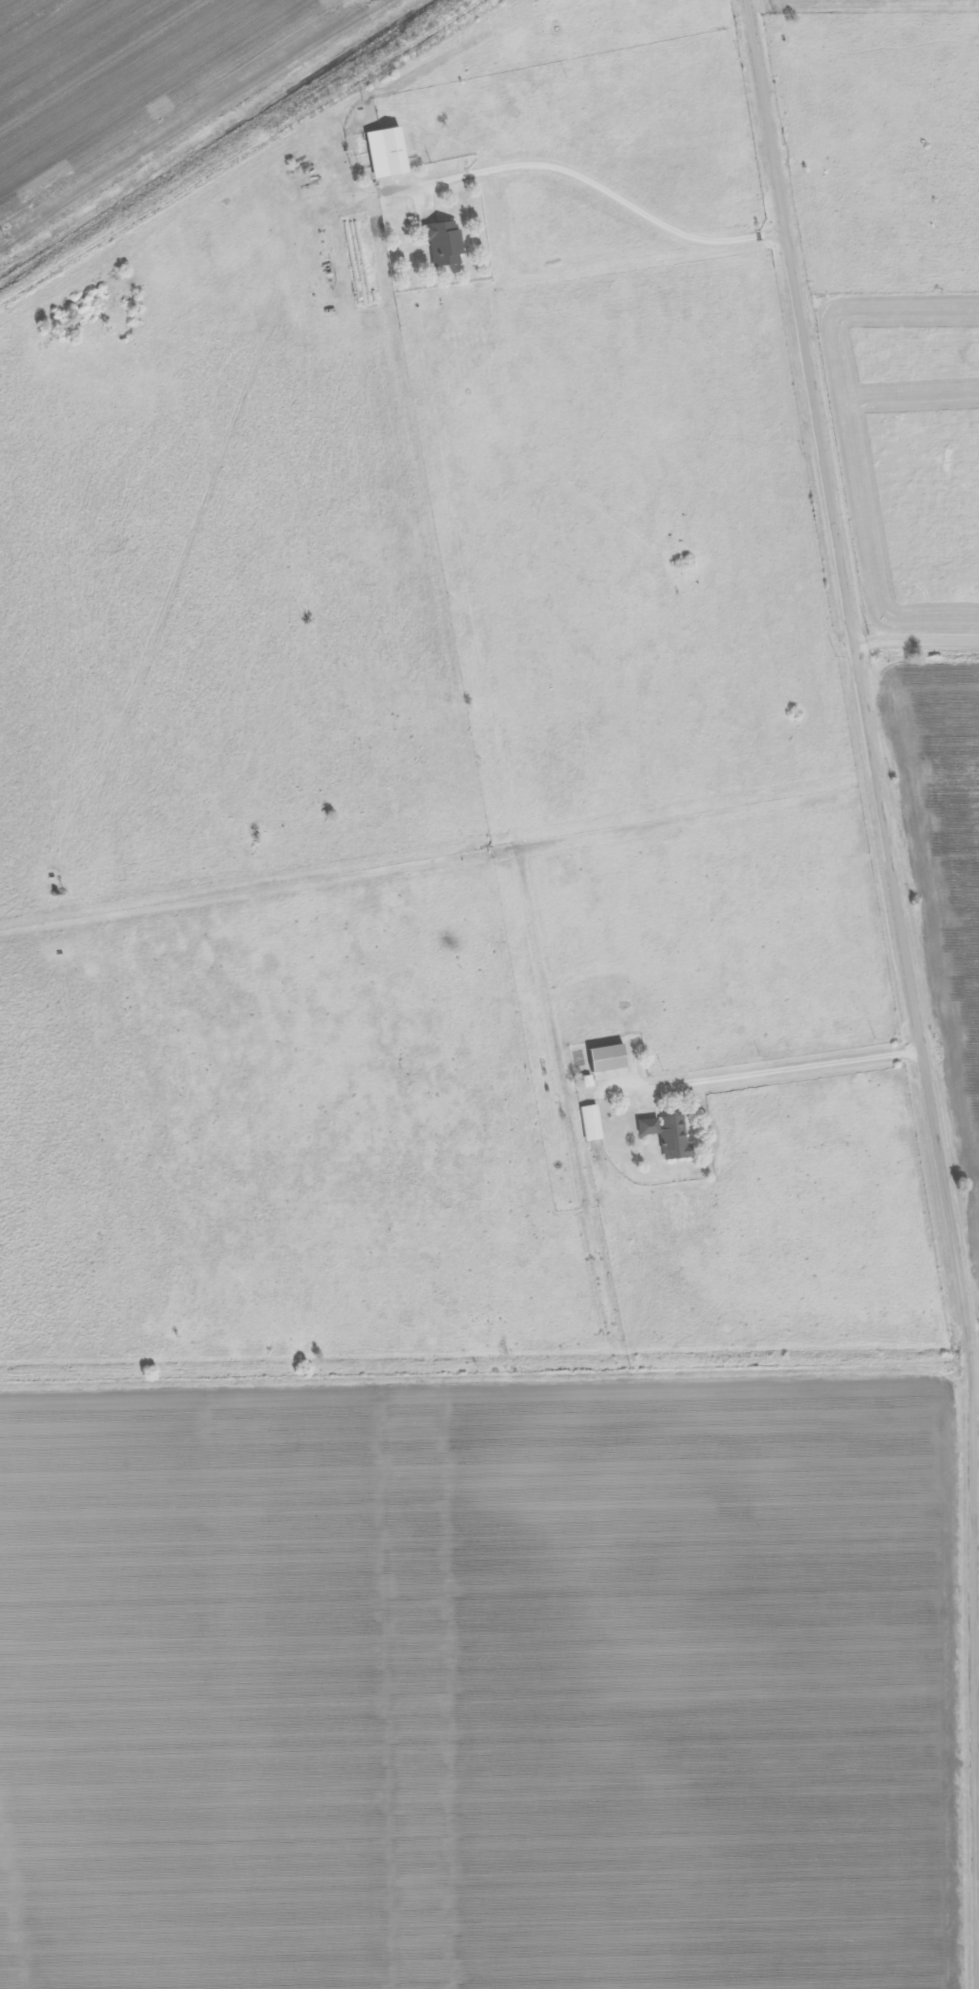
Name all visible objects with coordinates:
building: (389, 153)
road: (597, 189)
power tower: (5, 234)
building: (446, 244)
road: (915, 640)
road: (901, 913)
building: (610, 1058)
road: (776, 1066)
building: (593, 1123)
building: (670, 1136)
road: (976, 1391)

